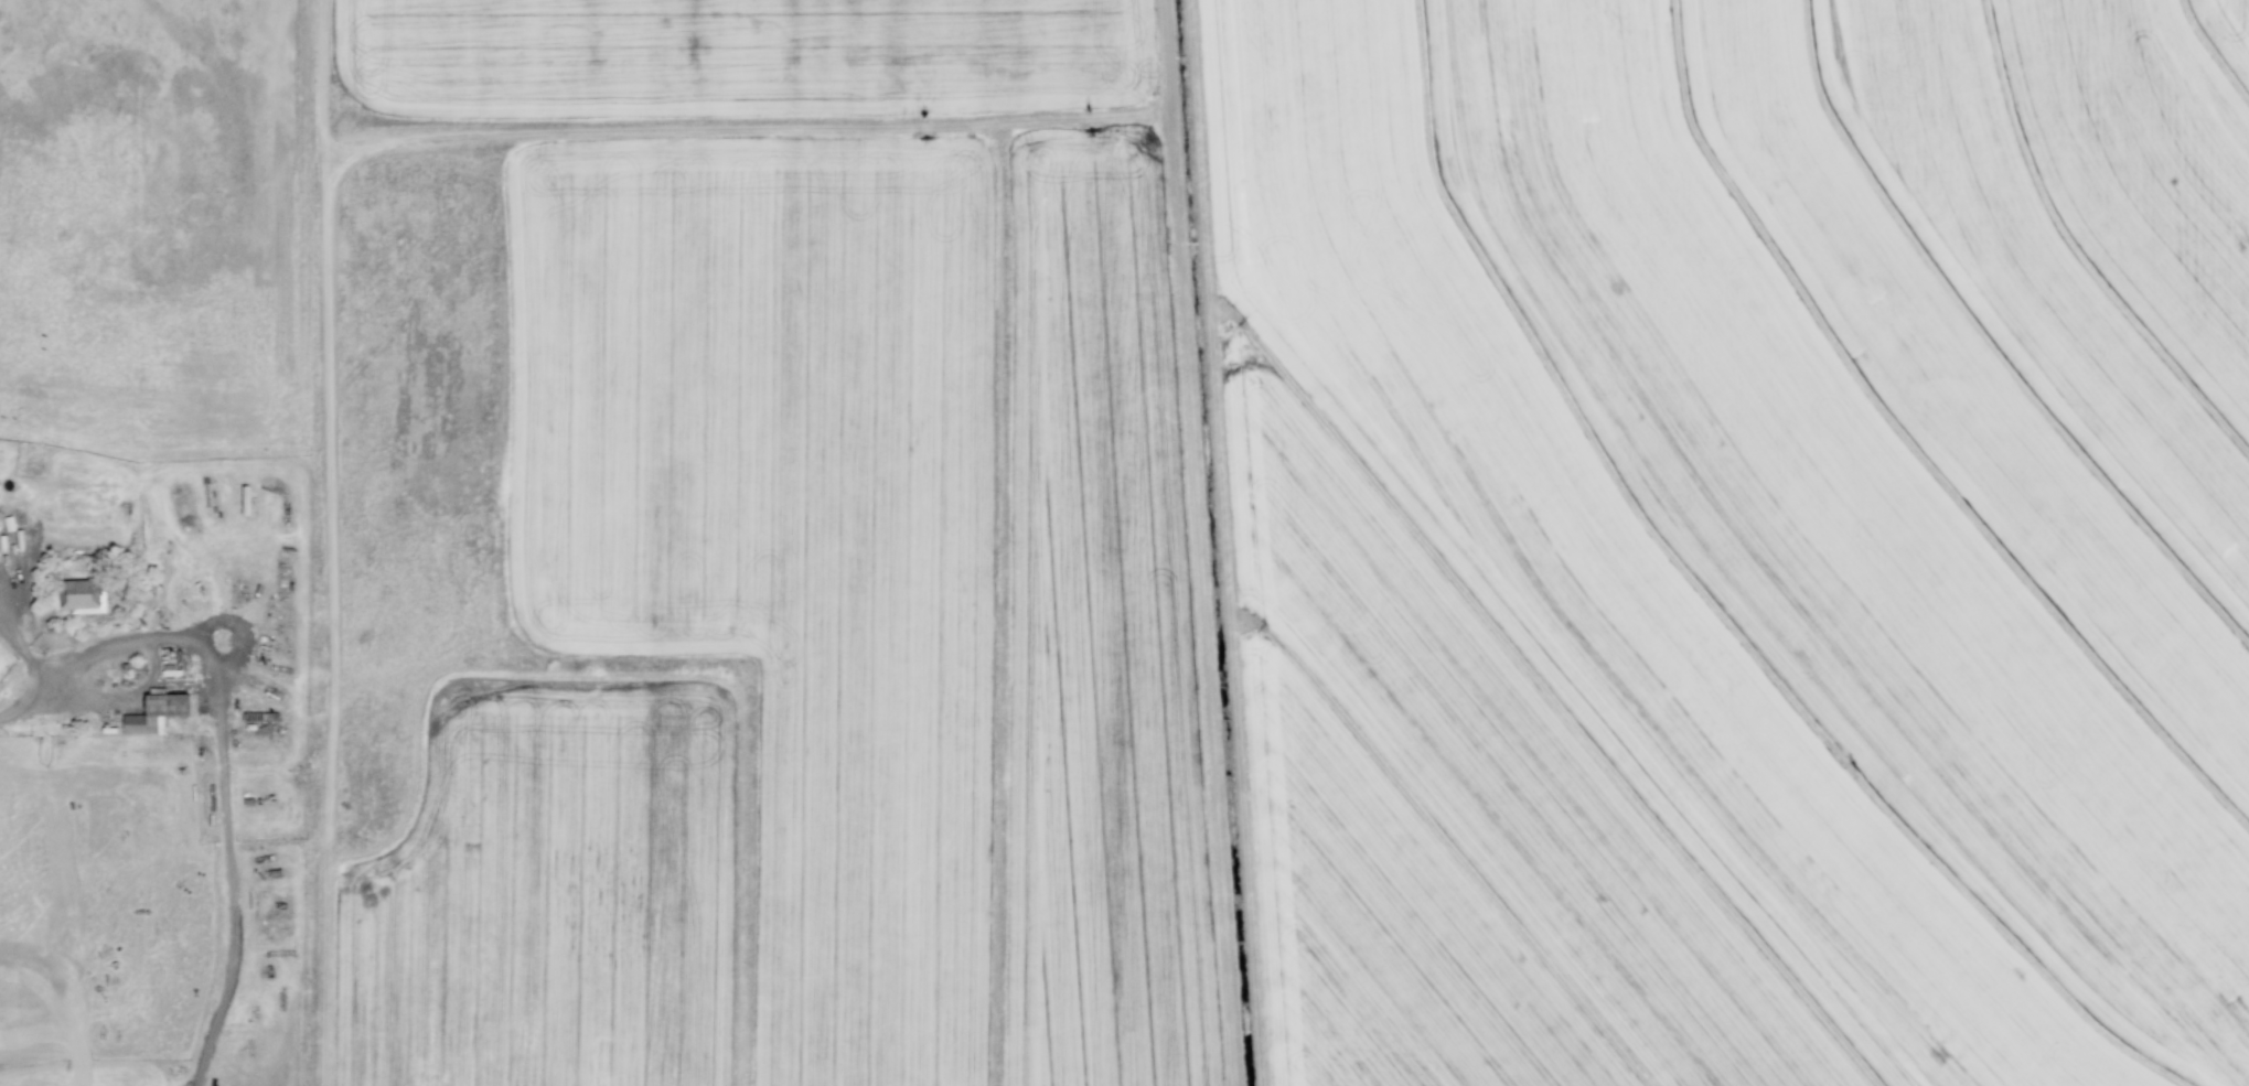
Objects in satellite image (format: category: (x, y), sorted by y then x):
building: (87, 602)
road: (20, 653)
building: (158, 714)
road: (1, 724)
road: (227, 738)
road: (193, 1079)
road: (201, 1079)

